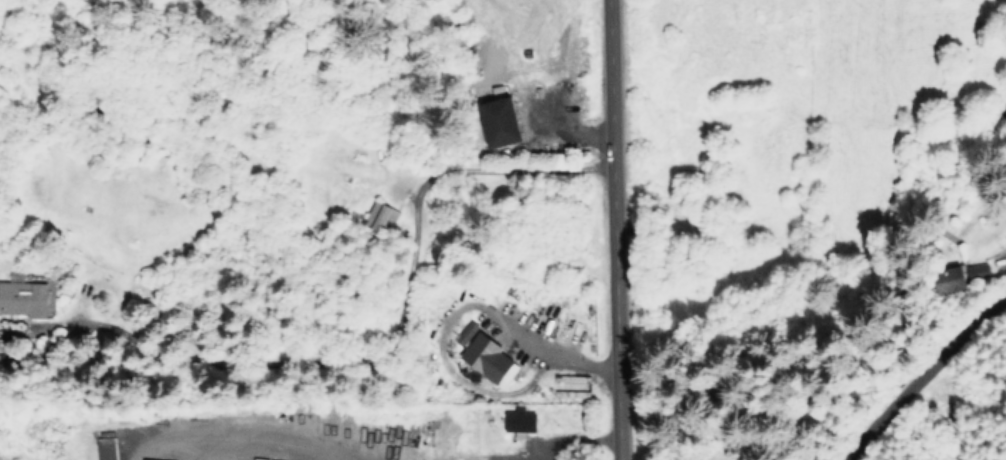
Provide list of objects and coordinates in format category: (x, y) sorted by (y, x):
building: (499, 121)
building: (380, 216)
road: (613, 230)
building: (978, 271)
building: (950, 279)
building: (486, 356)
road: (918, 373)
building: (518, 421)
road: (242, 429)

